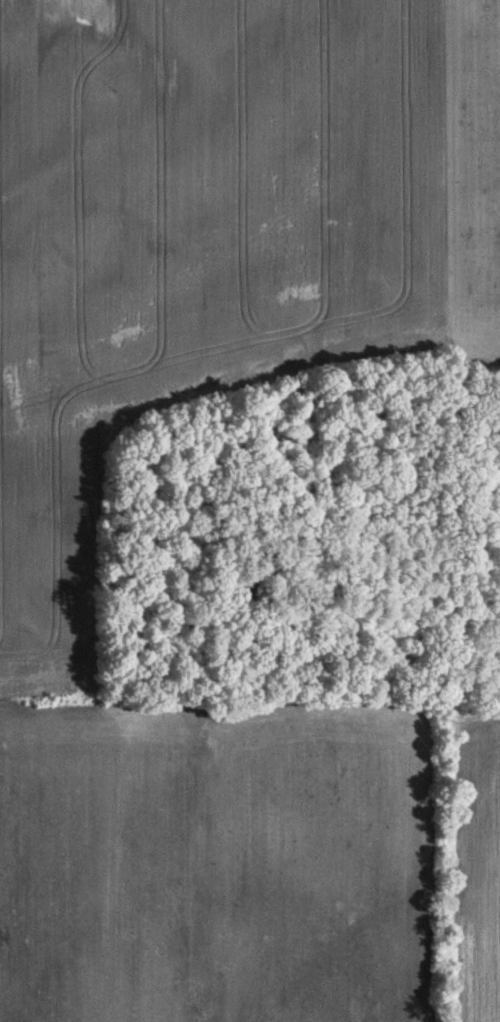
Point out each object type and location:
crop: (485, 866)

